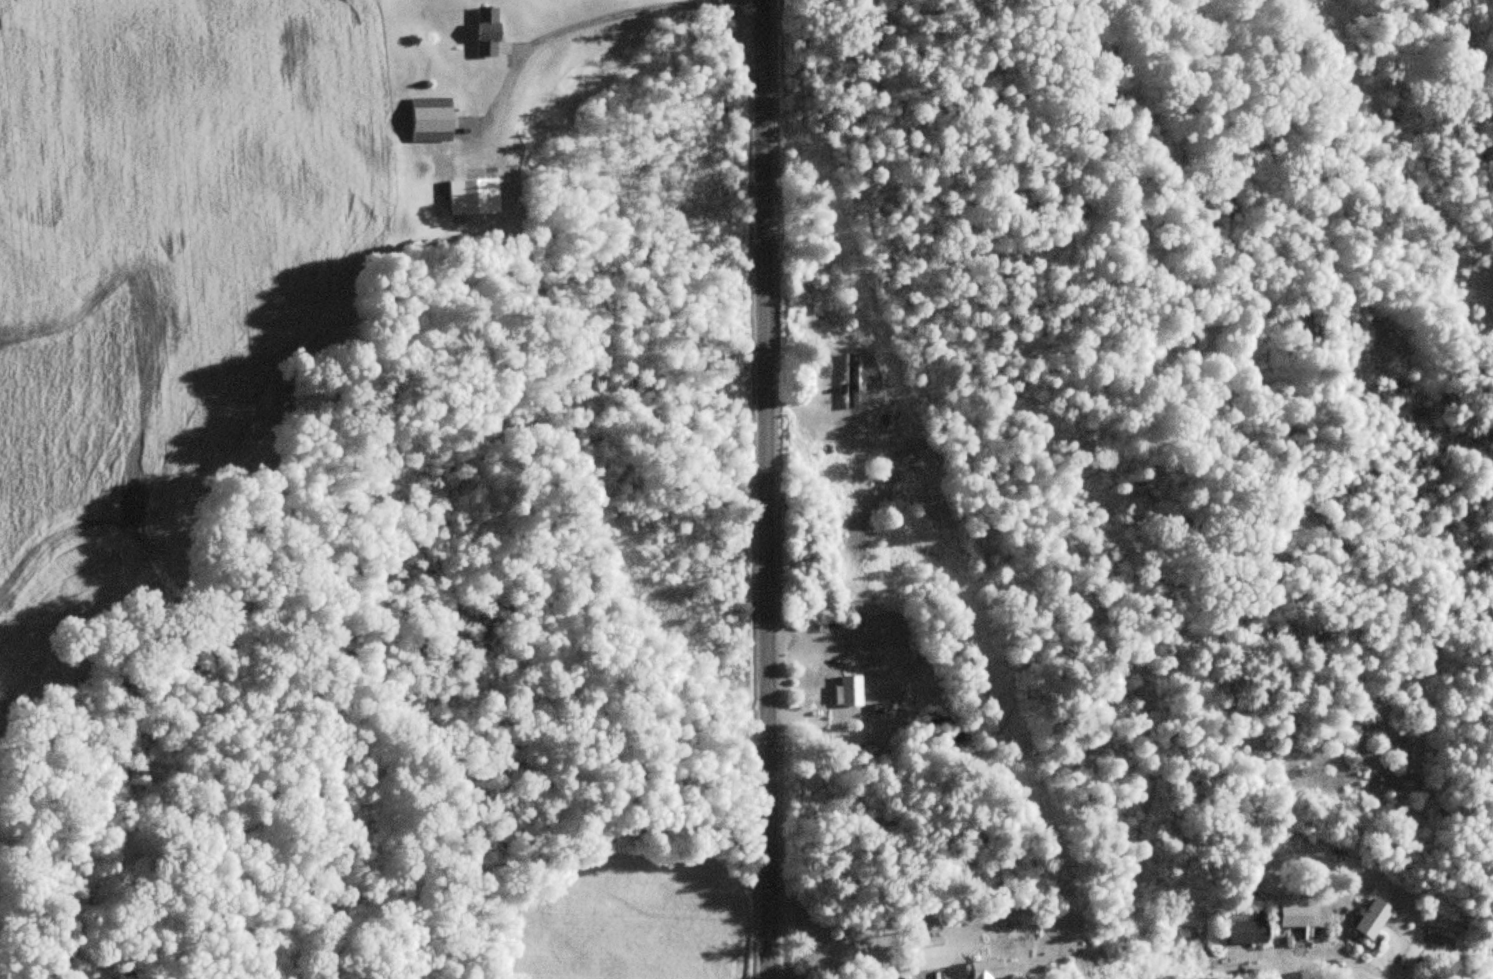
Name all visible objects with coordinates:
building: (486, 32)
building: (431, 120)
building: (471, 196)
building: (511, 200)
building: (849, 381)
road: (752, 489)
building: (847, 691)
building: (1292, 915)
building: (1370, 917)
building: (1241, 927)
building: (928, 954)
building: (984, 969)

